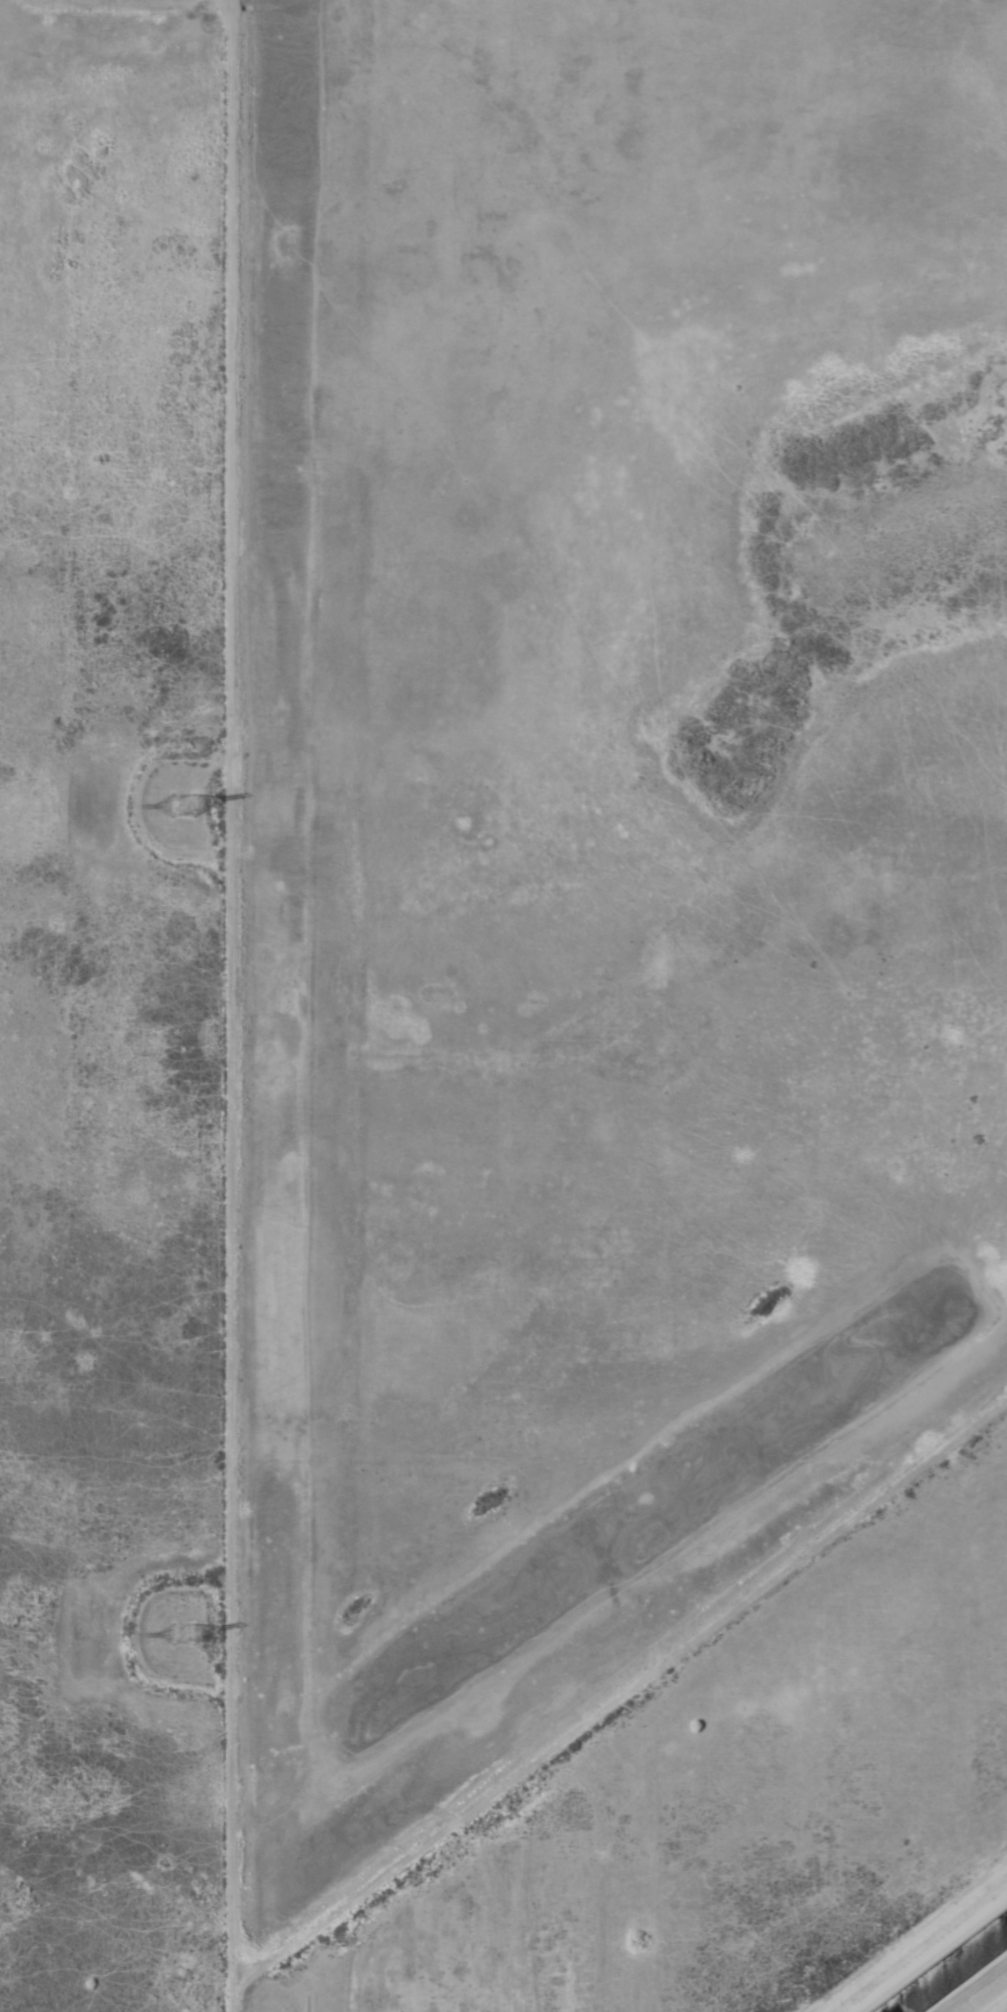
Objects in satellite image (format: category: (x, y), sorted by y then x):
power tower: (177, 805)
crop: (501, 1001)
power tower: (177, 1634)

